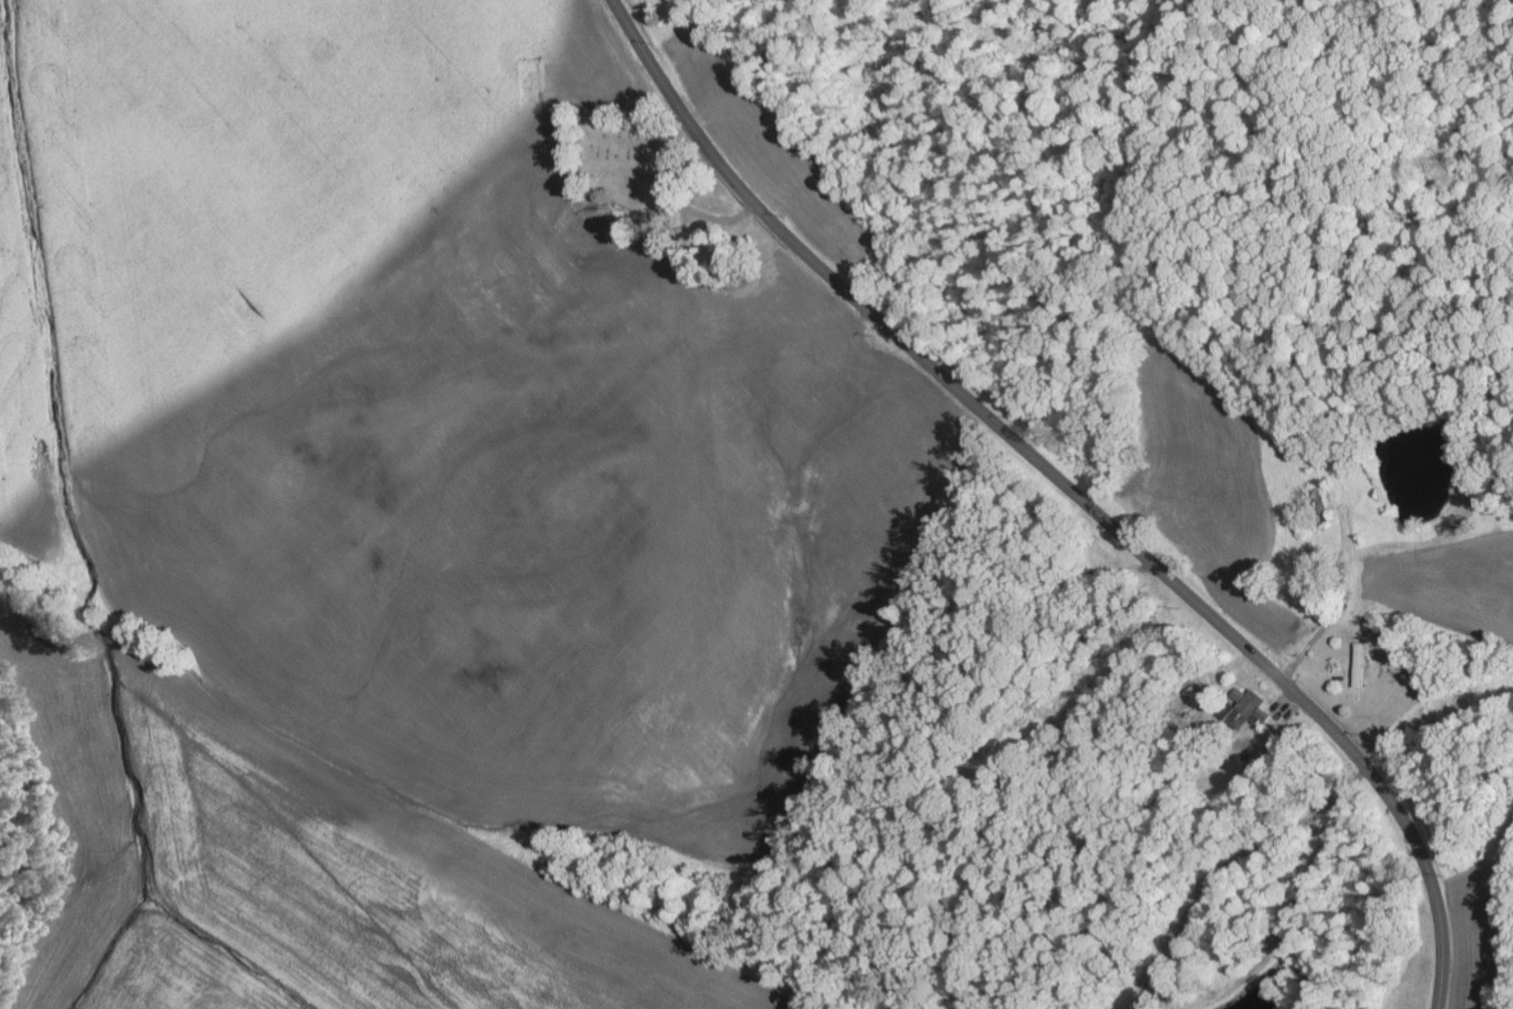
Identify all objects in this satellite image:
park: (627, 163)
road: (1065, 488)
building: (1247, 709)

